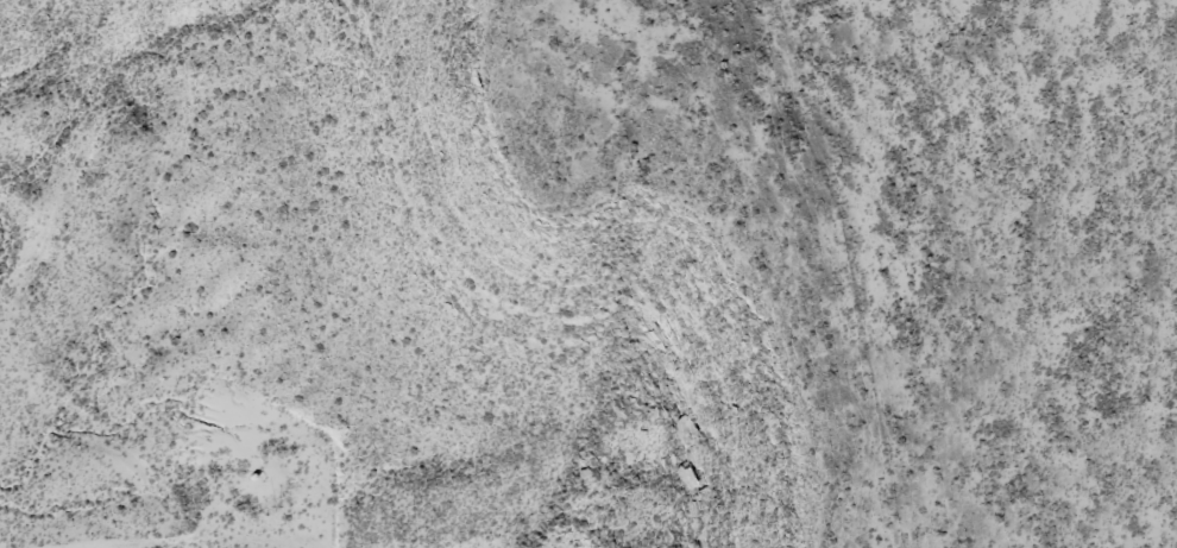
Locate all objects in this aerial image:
road: (50, 200)

